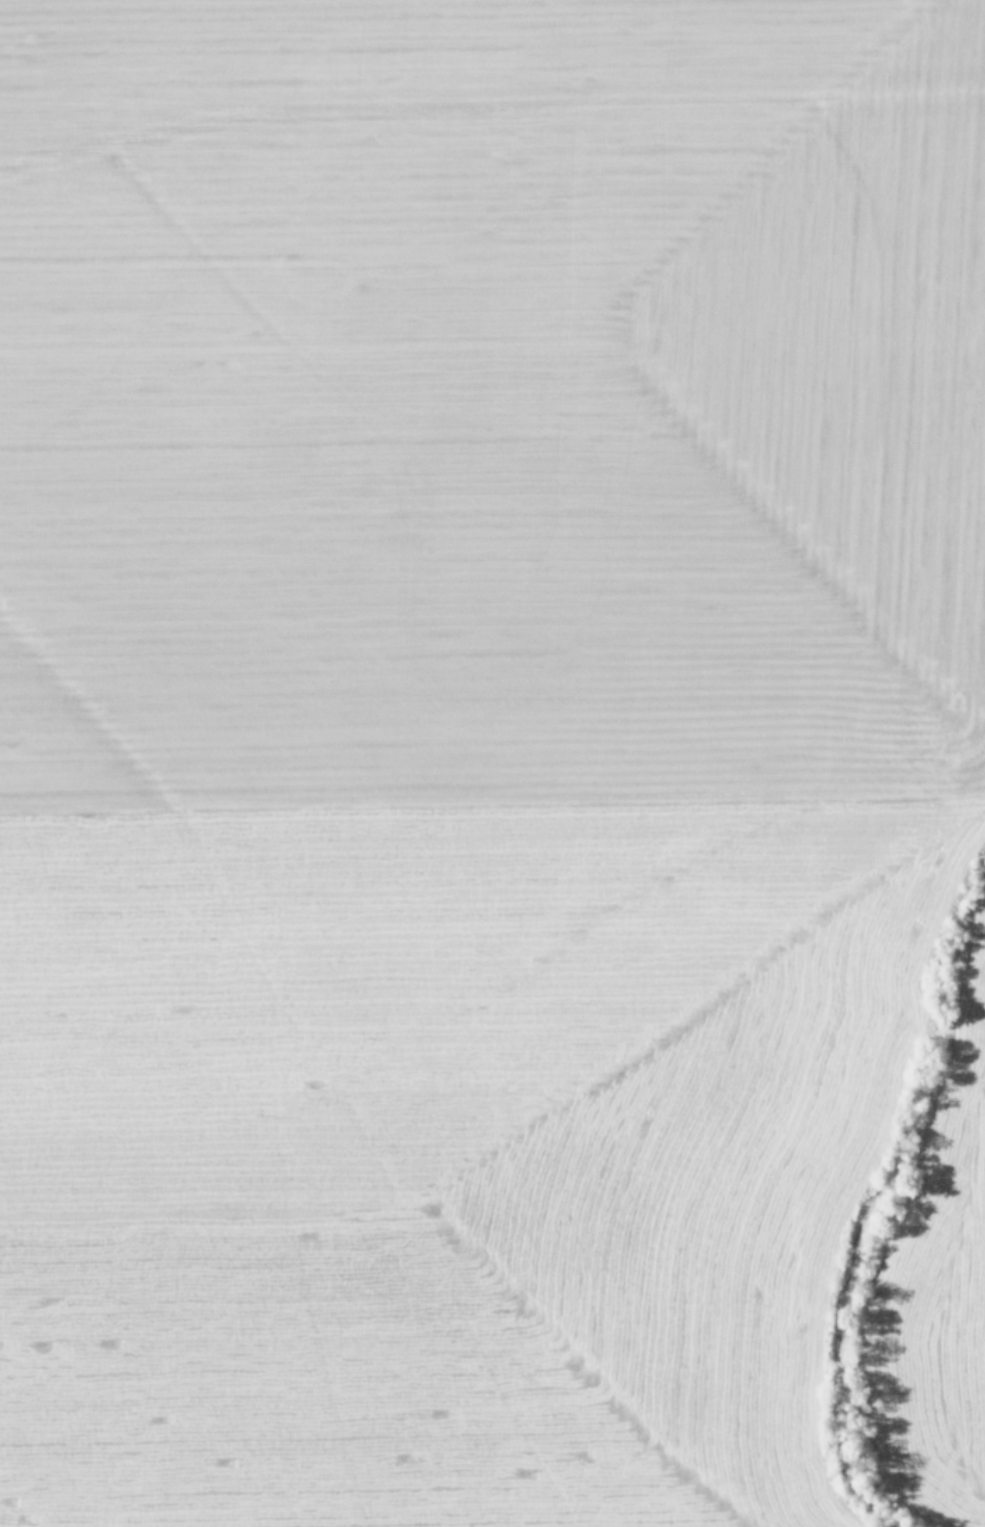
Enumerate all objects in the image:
crop: (492, 763)

